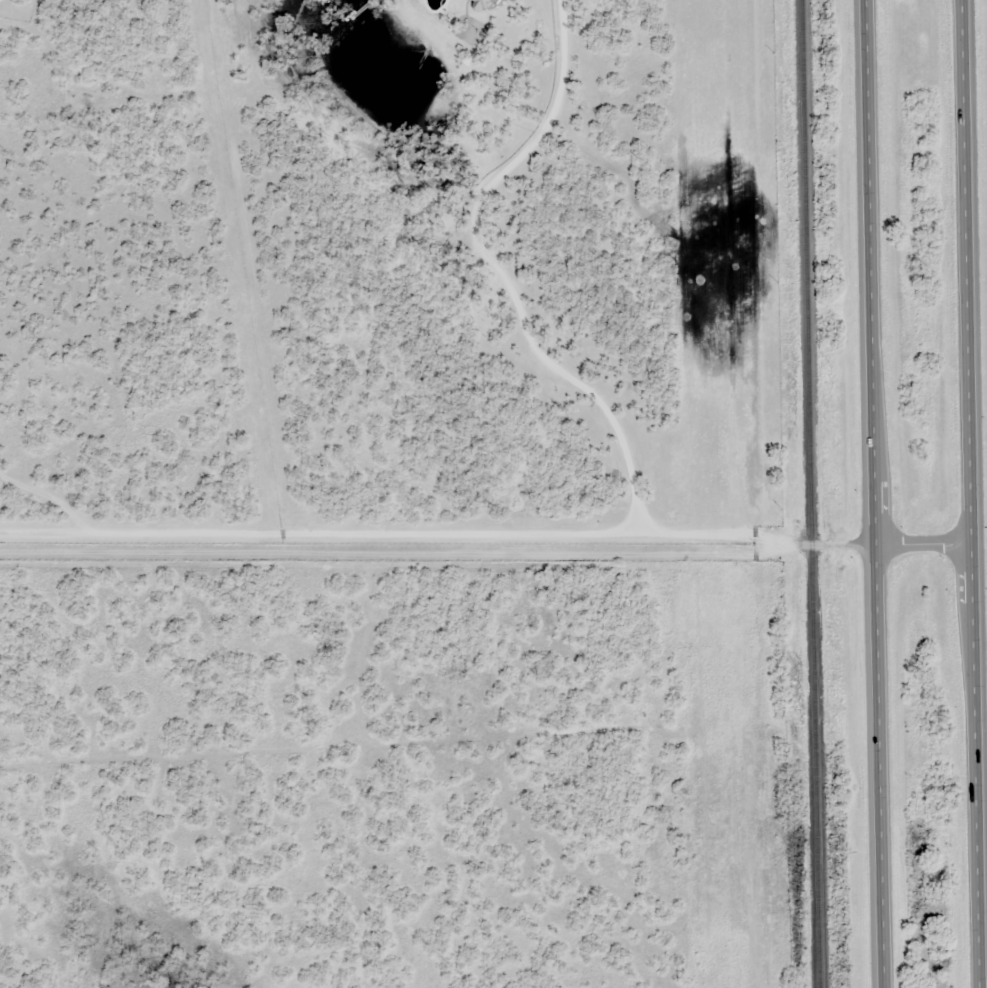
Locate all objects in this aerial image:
building: (480, 4)
road: (500, 276)
railway: (812, 494)
road: (872, 494)
road: (970, 494)
road: (485, 544)

